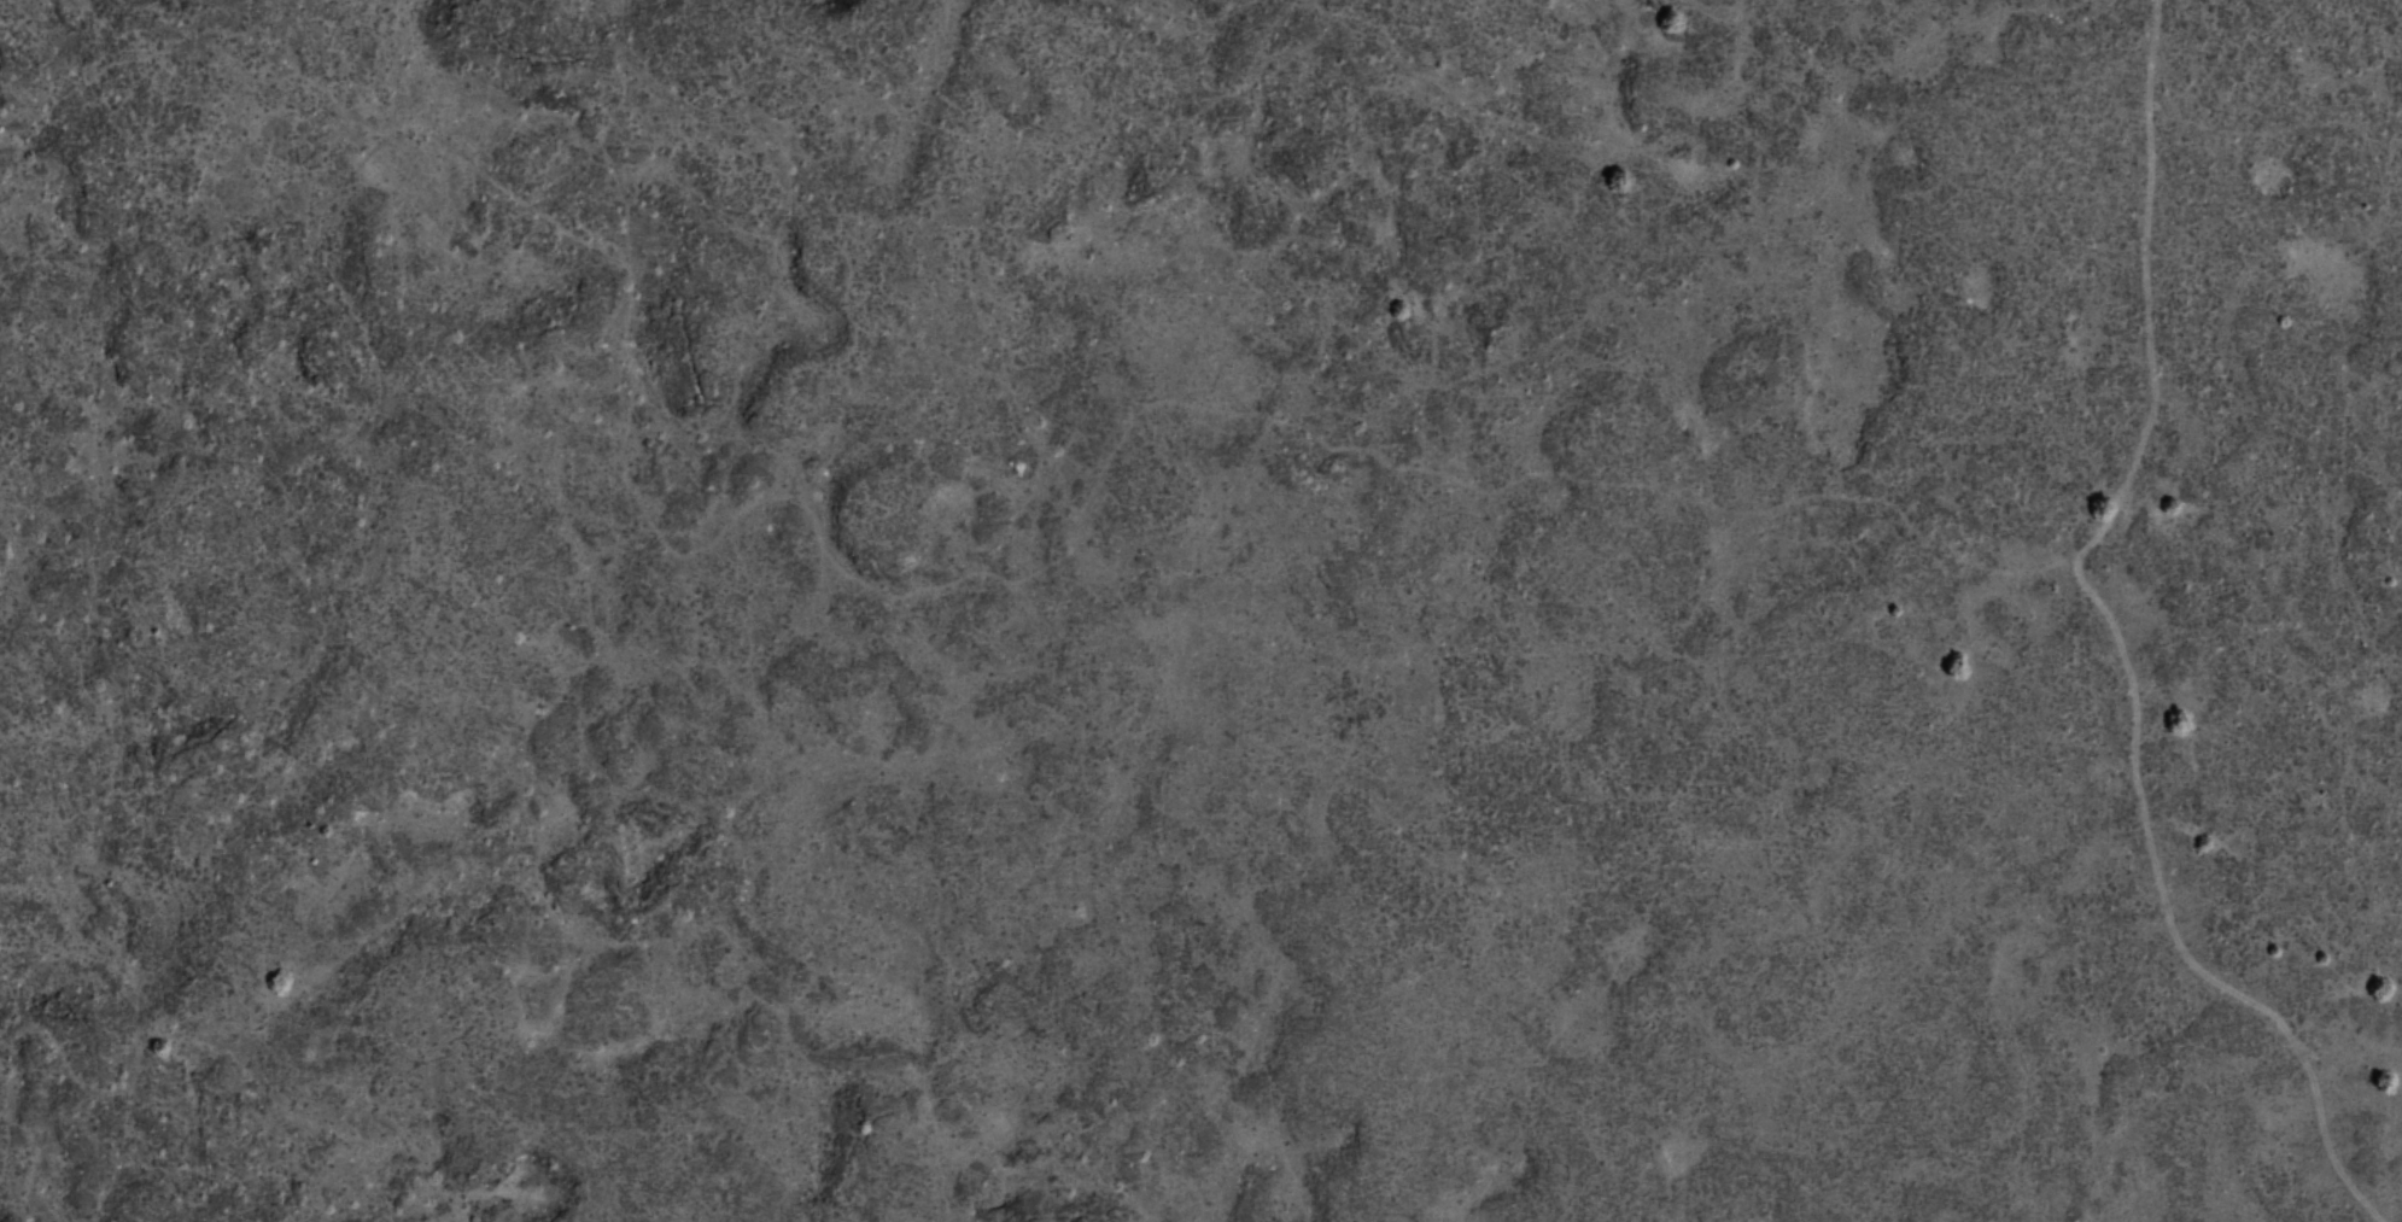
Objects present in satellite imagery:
road: (2120, 639)

